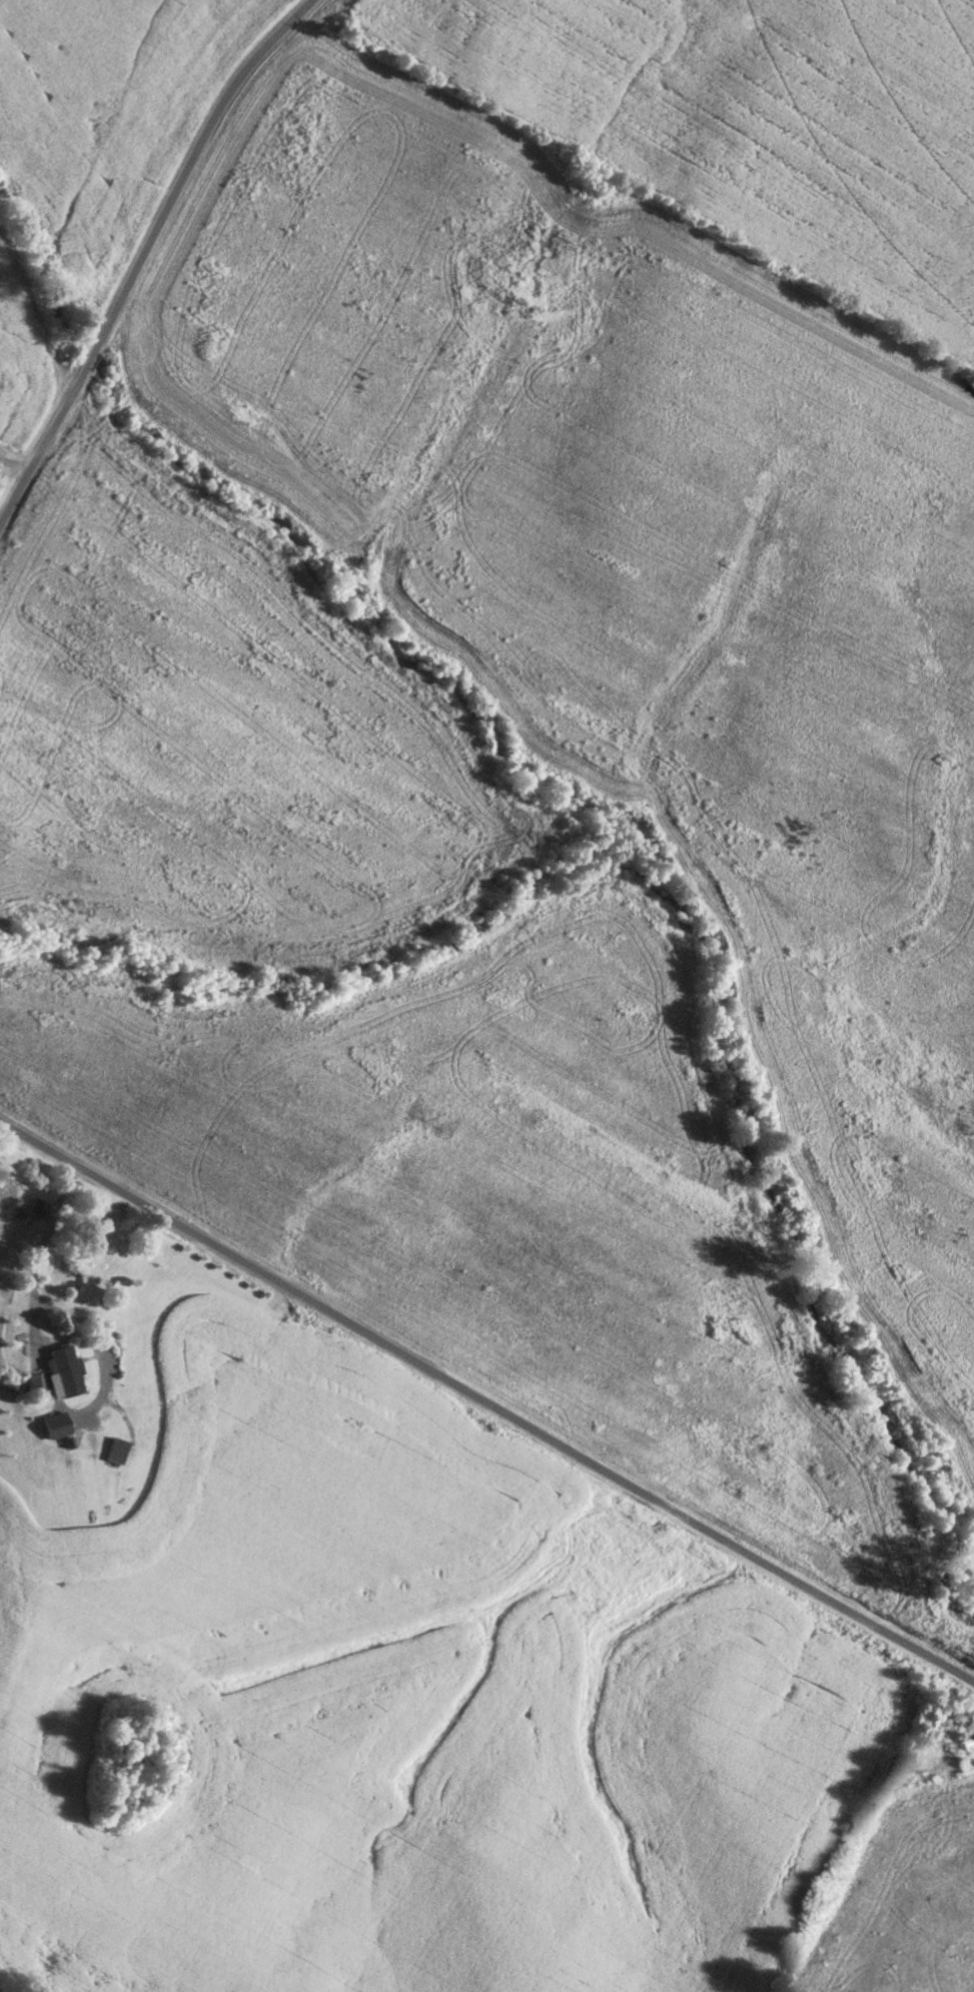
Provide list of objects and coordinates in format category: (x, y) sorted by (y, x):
road: (144, 257)
building: (54, 1376)
road: (486, 1400)
building: (56, 1430)
building: (112, 1453)

